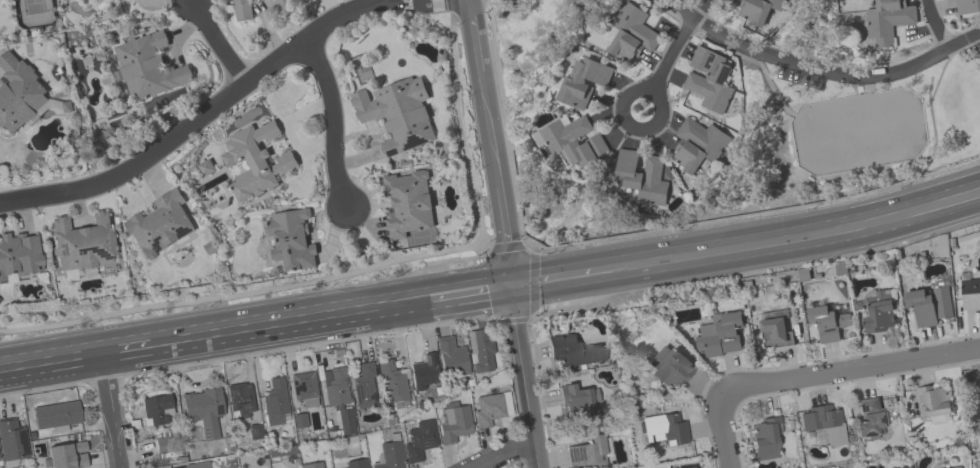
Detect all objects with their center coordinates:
road: (424, 3)
building: (284, 5)
building: (967, 6)
building: (243, 10)
building: (759, 11)
building: (888, 20)
road: (933, 24)
building: (631, 34)
road: (216, 43)
road: (676, 46)
building: (147, 67)
road: (819, 70)
building: (709, 80)
building: (582, 82)
building: (20, 95)
road: (625, 107)
road: (331, 119)
road: (199, 120)
building: (400, 120)
building: (571, 142)
road: (489, 143)
building: (697, 145)
building: (256, 160)
building: (206, 167)
building: (642, 178)
building: (408, 203)
building: (161, 225)
road: (782, 229)
building: (292, 239)
building: (84, 243)
road: (784, 252)
building: (20, 257)
road: (565, 279)
road: (529, 285)
traffic signals: (513, 288)
building: (970, 292)
road: (473, 295)
road: (429, 302)
building: (930, 306)
building: (878, 310)
building: (830, 322)
road: (294, 324)
building: (775, 329)
building: (721, 335)
road: (131, 350)
building: (574, 351)
building: (481, 352)
building: (452, 360)
road: (49, 363)
building: (671, 368)
road: (849, 370)
building: (425, 374)
road: (525, 378)
building: (392, 382)
building: (365, 388)
building: (304, 390)
building: (339, 397)
building: (576, 401)
building: (241, 402)
building: (276, 402)
building: (933, 402)
building: (157, 410)
building: (491, 410)
building: (204, 411)
road: (108, 412)
building: (57, 416)
building: (871, 419)
building: (301, 421)
building: (454, 424)
building: (827, 425)
building: (666, 429)
road: (724, 430)
building: (765, 437)
building: (420, 441)
building: (12, 442)
building: (162, 446)
building: (589, 453)
road: (504, 455)
building: (390, 456)
building: (355, 464)
building: (313, 465)
building: (941, 465)
building: (195, 466)
building: (692, 467)
building: (695, 467)

